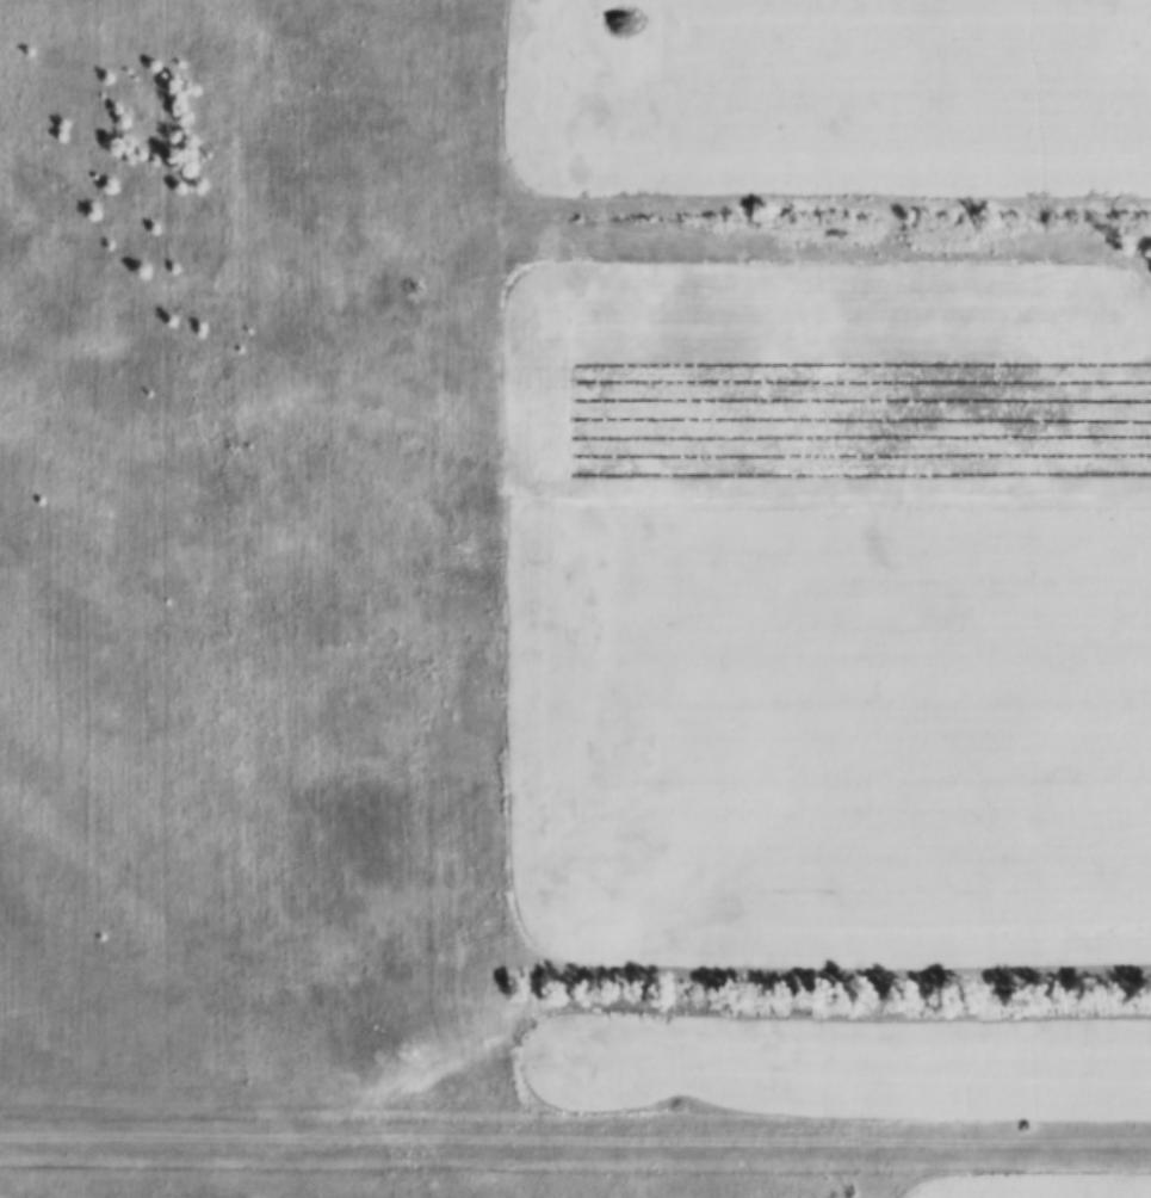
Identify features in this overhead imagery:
road: (575, 1137)

